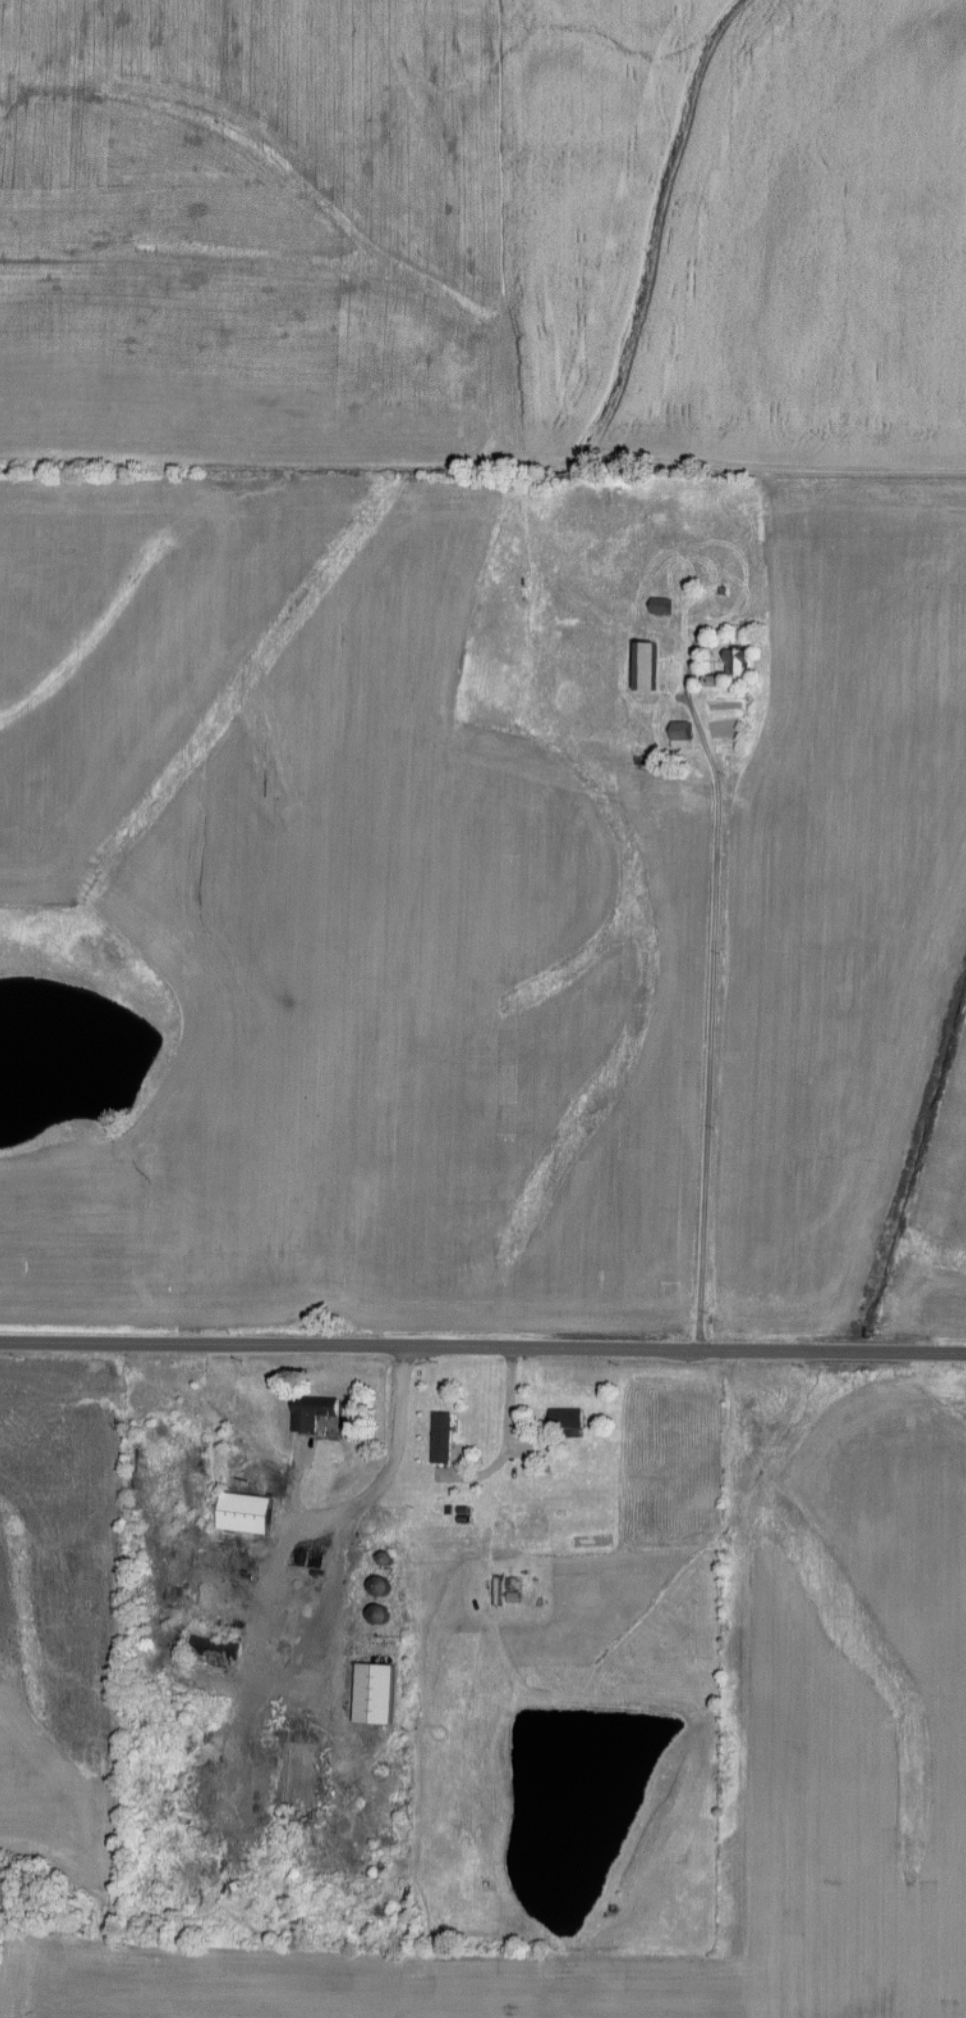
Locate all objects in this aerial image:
building: (661, 605)
building: (737, 660)
building: (647, 664)
building: (681, 733)
road: (720, 971)
road: (482, 1346)
road: (512, 1395)
building: (313, 1411)
building: (566, 1421)
building: (448, 1441)
road: (392, 1467)
building: (245, 1512)
building: (379, 1585)
building: (274, 1630)
building: (213, 1646)
building: (376, 1691)

